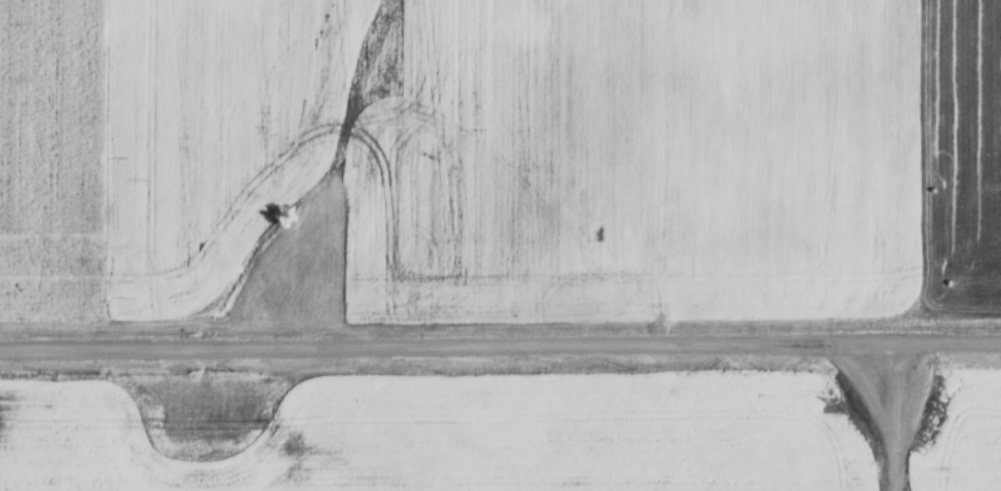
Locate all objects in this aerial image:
road: (500, 343)

